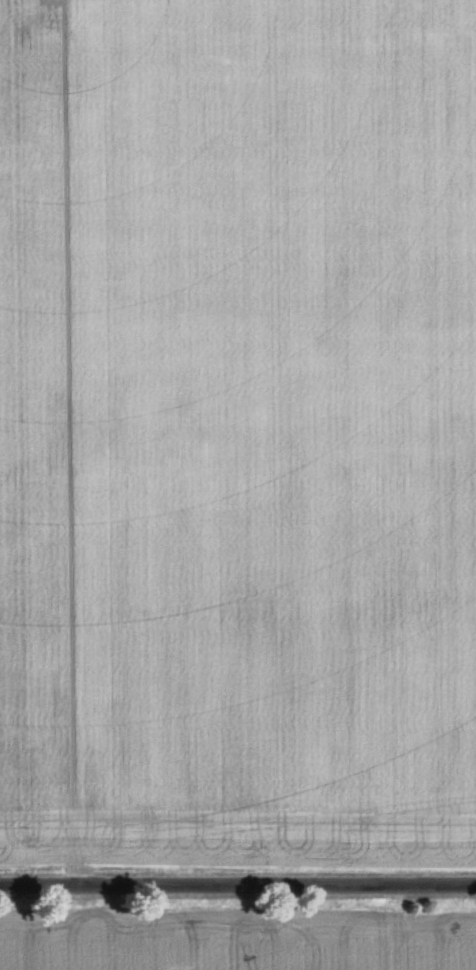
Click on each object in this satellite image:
road: (238, 900)

